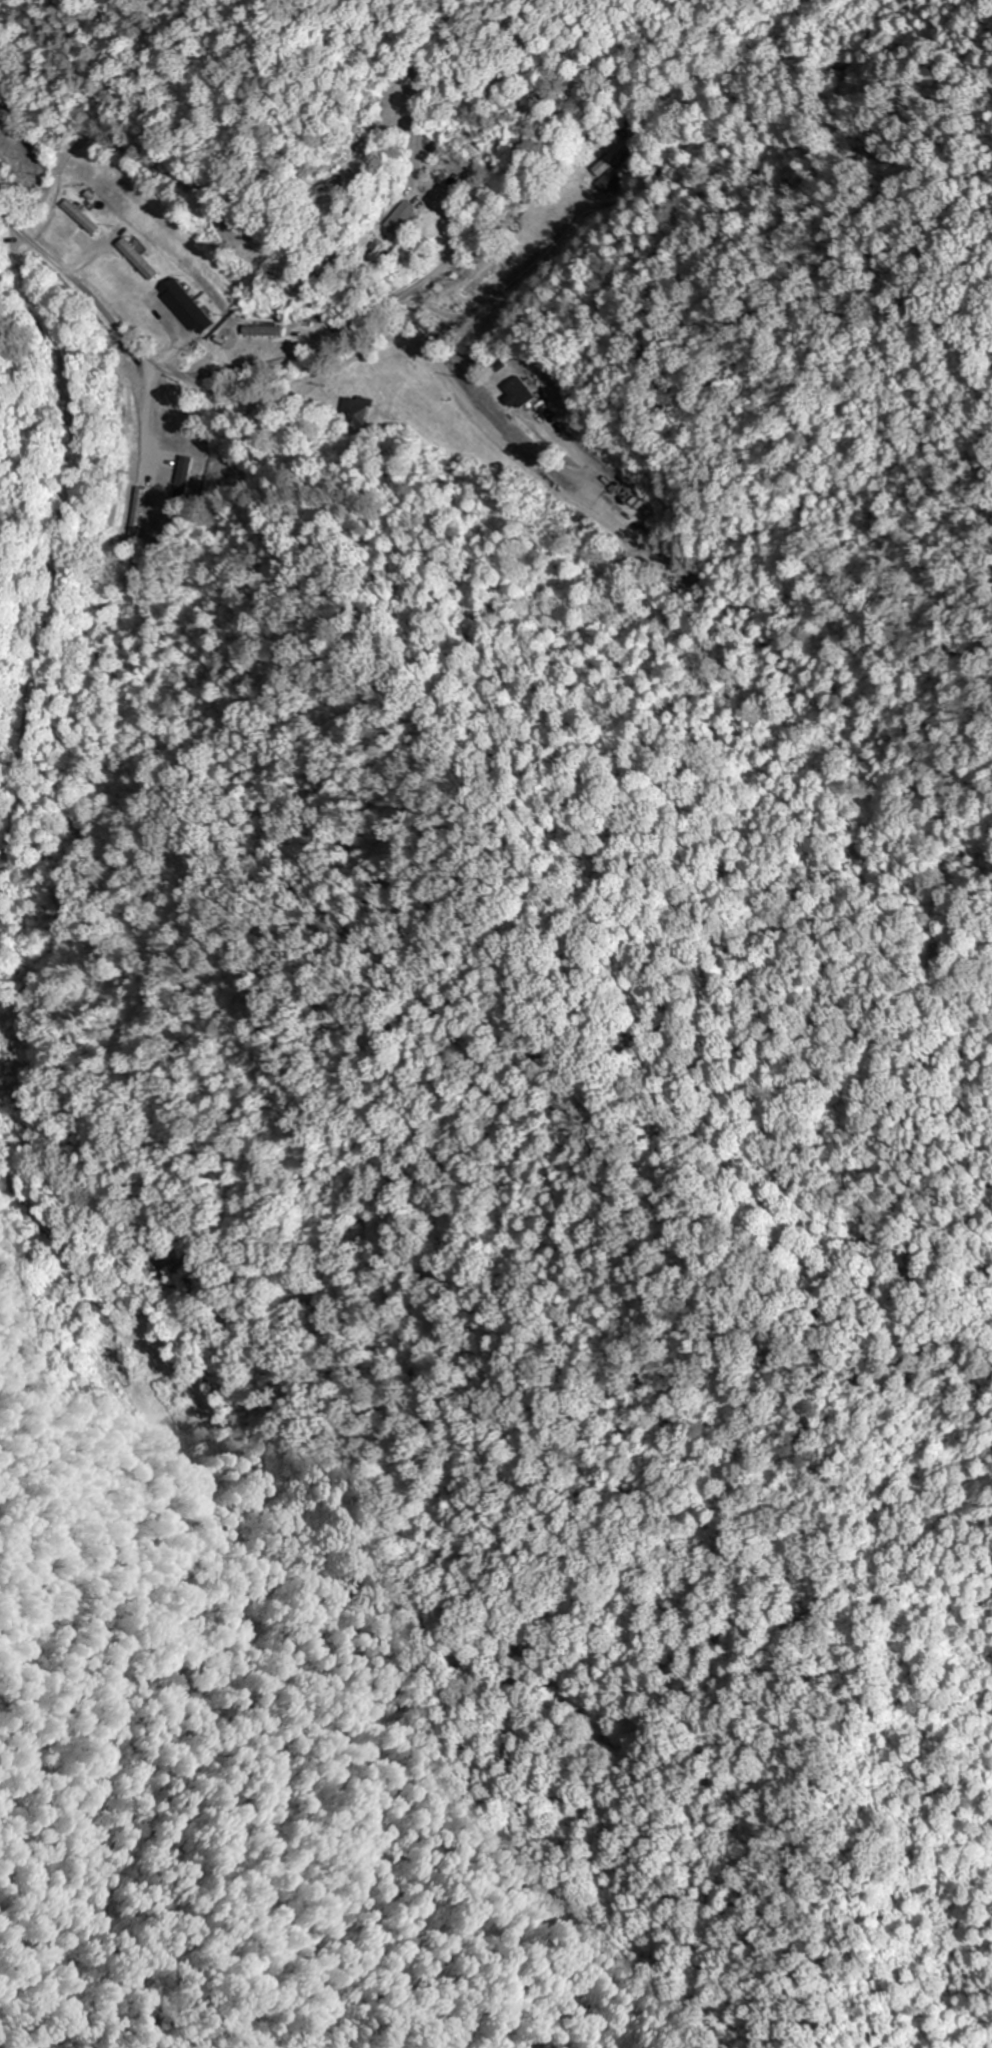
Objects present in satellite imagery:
building: (605, 165)
building: (398, 216)
building: (136, 264)
building: (258, 331)
road: (196, 382)
building: (516, 393)
building: (140, 402)
building: (353, 411)

